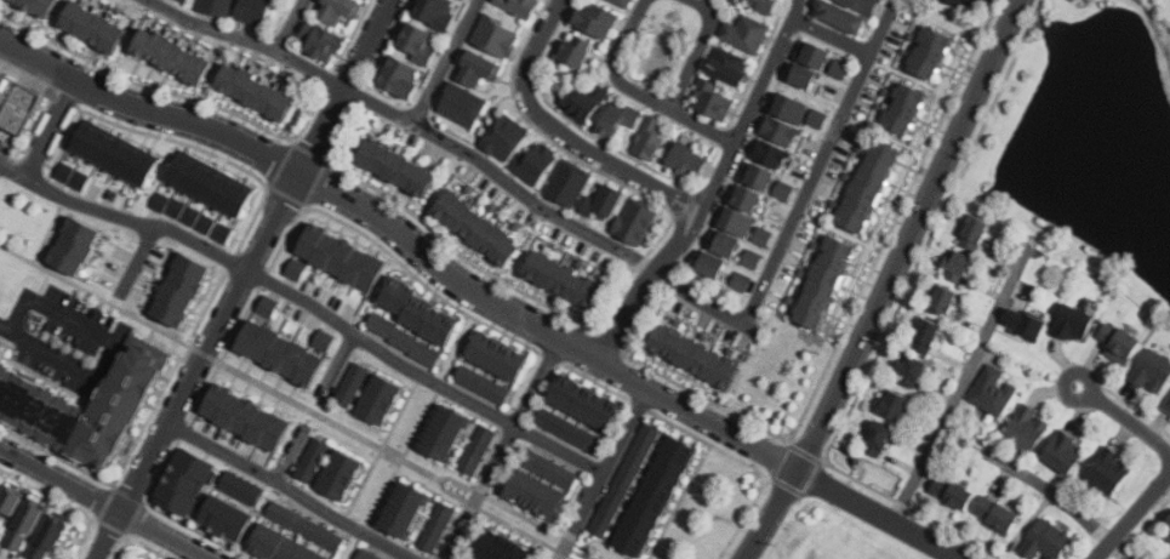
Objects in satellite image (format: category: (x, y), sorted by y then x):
building: (184, 0)
building: (175, 1)
building: (732, 1)
building: (622, 2)
building: (761, 5)
building: (39, 6)
building: (216, 6)
building: (520, 7)
building: (338, 10)
building: (253, 11)
building: (436, 11)
building: (849, 13)
building: (597, 19)
building: (95, 27)
road: (289, 27)
building: (744, 34)
road: (831, 34)
building: (496, 36)
building: (418, 40)
building: (321, 41)
road: (696, 47)
building: (575, 52)
building: (931, 52)
building: (821, 53)
building: (175, 56)
building: (806, 56)
road: (445, 62)
road: (611, 65)
building: (730, 67)
building: (479, 68)
building: (840, 68)
building: (809, 75)
building: (400, 76)
building: (793, 76)
building: (258, 92)
building: (16, 98)
building: (710, 99)
building: (586, 102)
building: (462, 104)
road: (748, 107)
building: (795, 107)
building: (906, 108)
building: (618, 118)
building: (811, 118)
building: (820, 118)
road: (406, 121)
road: (701, 124)
building: (783, 130)
road: (561, 131)
building: (506, 136)
building: (650, 139)
building: (772, 152)
building: (115, 153)
building: (689, 159)
building: (536, 160)
building: (399, 167)
road: (12, 169)
building: (68, 175)
building: (764, 175)
building: (567, 183)
building: (212, 184)
building: (871, 186)
building: (786, 190)
building: (752, 198)
building: (155, 199)
building: (605, 203)
road: (82, 204)
road: (797, 211)
building: (187, 215)
building: (741, 219)
building: (637, 222)
building: (478, 228)
building: (218, 230)
building: (975, 232)
building: (765, 236)
building: (731, 244)
building: (715, 245)
building: (76, 246)
road: (255, 255)
building: (343, 257)
road: (137, 259)
building: (752, 259)
building: (715, 263)
building: (700, 266)
building: (958, 266)
building: (289, 267)
building: (298, 269)
building: (564, 279)
road: (639, 281)
building: (743, 281)
road: (883, 281)
building: (826, 283)
building: (182, 290)
road: (479, 295)
building: (943, 301)
building: (268, 304)
building: (421, 310)
building: (1074, 323)
building: (1026, 324)
road: (5, 329)
building: (926, 336)
building: (326, 340)
building: (406, 340)
road: (108, 342)
building: (1120, 342)
building: (2, 347)
building: (284, 354)
building: (498, 355)
building: (698, 356)
road: (337, 367)
building: (911, 371)
building: (1152, 371)
road: (421, 376)
road: (961, 382)
building: (352, 384)
building: (484, 384)
building: (994, 390)
building: (381, 400)
building: (580, 401)
road: (298, 403)
building: (1168, 404)
building: (895, 405)
building: (86, 409)
road: (1124, 417)
building: (247, 418)
building: (1028, 428)
building: (565, 429)
building: (445, 433)
building: (868, 437)
building: (879, 439)
road: (500, 449)
building: (478, 451)
building: (1065, 452)
road: (290, 455)
building: (313, 460)
building: (547, 468)
building: (1109, 472)
road: (601, 473)
building: (341, 474)
building: (621, 480)
building: (0, 483)
building: (187, 483)
building: (241, 487)
road: (287, 491)
building: (953, 492)
building: (531, 494)
building: (651, 496)
road: (1063, 500)
road: (104, 503)
building: (8, 507)
building: (405, 510)
building: (998, 515)
building: (229, 518)
road: (1134, 519)
road: (504, 520)
building: (27, 524)
building: (1168, 524)
building: (306, 526)
building: (436, 527)
road: (105, 535)
building: (50, 538)
building: (1048, 541)
building: (284, 546)
building: (504, 546)
building: (369, 554)
building: (129, 558)
building: (464, 558)
building: (475, 558)

